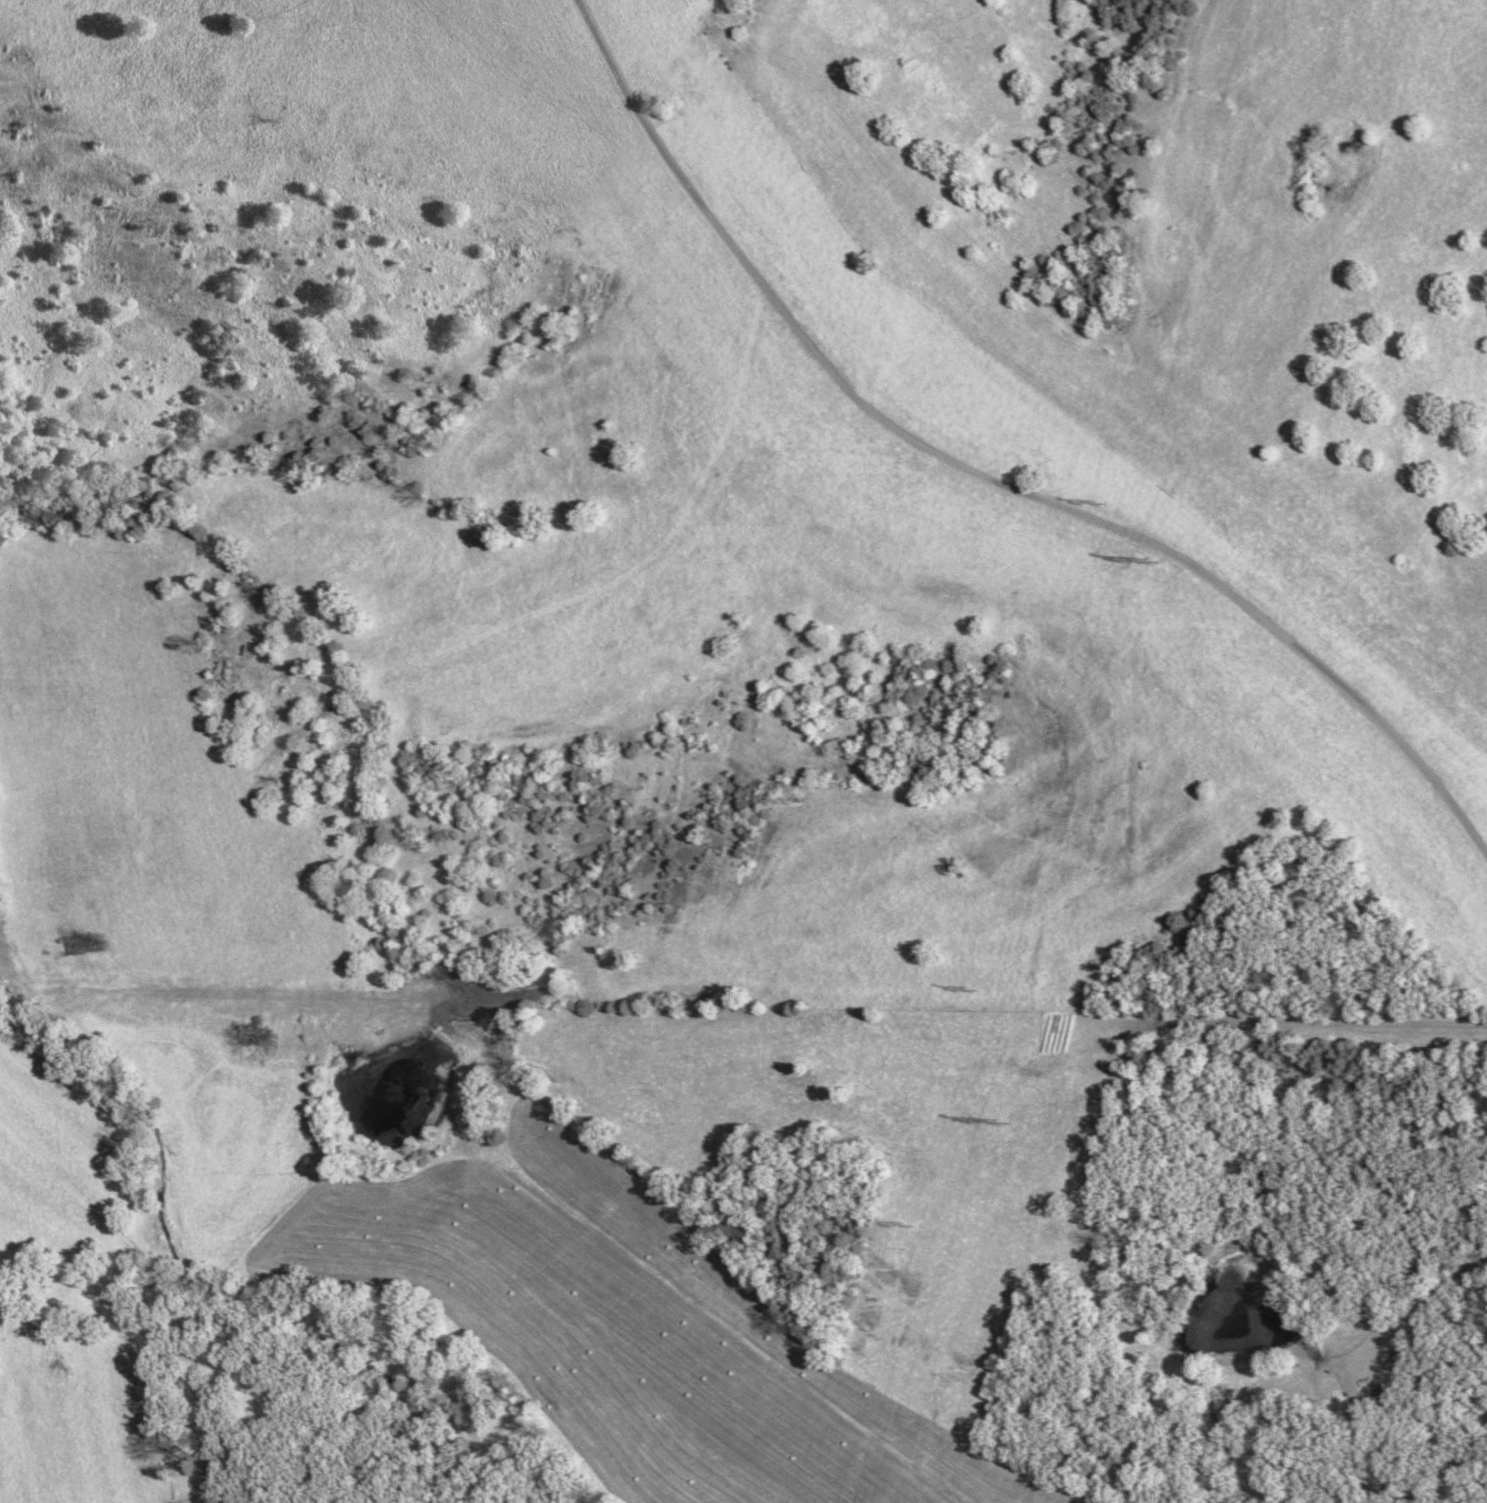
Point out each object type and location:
road: (984, 477)
power tower: (1150, 563)
power tower: (995, 1120)

